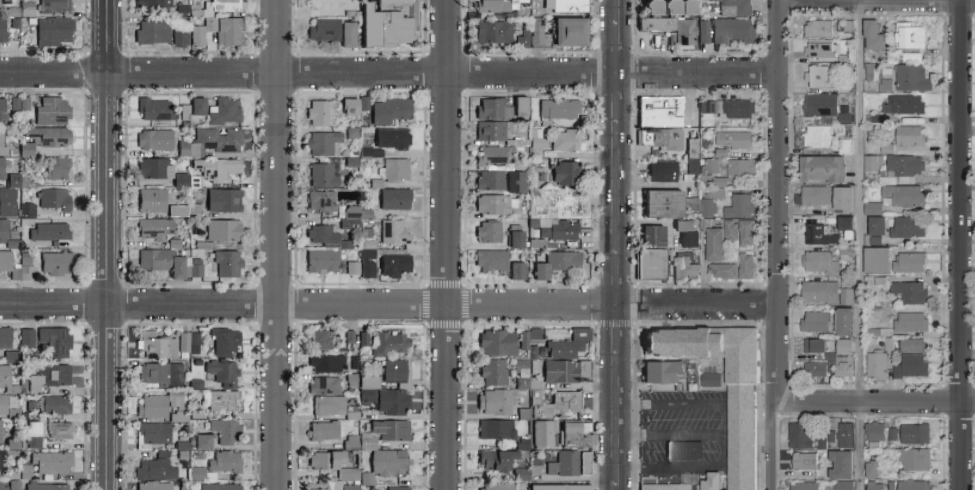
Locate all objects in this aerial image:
building: (53, 5)
building: (226, 5)
building: (493, 5)
building: (566, 6)
building: (677, 7)
building: (734, 7)
building: (649, 8)
building: (387, 22)
road: (104, 23)
road: (446, 23)
building: (661, 23)
building: (817, 28)
building: (1, 29)
building: (323, 29)
building: (732, 30)
building: (52, 31)
building: (218, 31)
building: (152, 32)
building: (493, 32)
building: (567, 32)
building: (684, 32)
building: (703, 32)
building: (346, 34)
building: (533, 35)
building: (872, 35)
building: (908, 35)
building: (180, 36)
road: (618, 36)
building: (819, 49)
road: (40, 71)
road: (273, 71)
road: (624, 73)
road: (421, 75)
building: (818, 76)
building: (911, 77)
building: (881, 81)
road: (103, 94)
road: (618, 98)
building: (820, 104)
building: (906, 104)
building: (348, 105)
building: (519, 105)
building: (192, 107)
building: (558, 107)
building: (728, 107)
building: (153, 108)
building: (492, 108)
building: (388, 109)
building: (223, 110)
building: (319, 111)
building: (2, 113)
building: (664, 113)
building: (844, 113)
building: (53, 114)
building: (492, 130)
building: (909, 135)
building: (818, 136)
building: (390, 137)
building: (50, 138)
building: (154, 138)
building: (565, 139)
building: (734, 139)
building: (214, 140)
building: (676, 141)
building: (2, 142)
building: (322, 142)
building: (183, 147)
building: (370, 150)
road: (778, 151)
building: (494, 154)
building: (872, 163)
building: (710, 165)
building: (902, 166)
building: (154, 167)
building: (216, 168)
building: (395, 168)
building: (820, 168)
building: (3, 169)
building: (59, 170)
building: (662, 170)
building: (740, 170)
building: (565, 172)
building: (322, 175)
building: (12, 179)
building: (490, 179)
building: (514, 181)
building: (718, 182)
road: (618, 186)
building: (716, 194)
building: (815, 195)
building: (902, 195)
building: (393, 198)
building: (841, 198)
building: (151, 199)
building: (223, 199)
building: (320, 200)
building: (56, 201)
building: (661, 201)
building: (8, 204)
building: (494, 204)
building: (739, 206)
building: (561, 207)
building: (706, 207)
building: (872, 208)
building: (26, 209)
building: (176, 210)
building: (349, 216)
building: (844, 222)
building: (876, 225)
building: (908, 226)
building: (153, 228)
building: (222, 229)
building: (488, 230)
building: (561, 230)
building: (730, 230)
building: (393, 231)
building: (745, 232)
building: (4, 233)
building: (56, 233)
building: (323, 234)
building: (652, 234)
building: (819, 234)
building: (515, 238)
building: (687, 238)
building: (345, 243)
road: (275, 244)
building: (713, 244)
road: (858, 244)
road: (960, 244)
building: (491, 259)
building: (876, 259)
building: (320, 260)
building: (160, 261)
building: (227, 262)
building: (819, 262)
building: (909, 262)
building: (559, 263)
building: (7, 264)
building: (393, 264)
building: (58, 265)
building: (656, 265)
building: (745, 265)
building: (352, 266)
building: (25, 267)
building: (367, 268)
building: (195, 269)
building: (515, 269)
building: (722, 270)
road: (618, 275)
building: (818, 291)
building: (909, 291)
road: (105, 292)
road: (444, 293)
building: (845, 295)
road: (388, 302)
building: (843, 320)
building: (814, 321)
building: (910, 321)
road: (618, 328)
building: (534, 333)
building: (4, 336)
building: (26, 337)
building: (363, 337)
building: (319, 338)
building: (523, 339)
building: (54, 340)
building: (188, 341)
building: (224, 341)
building: (389, 342)
building: (499, 342)
building: (911, 344)
building: (156, 345)
building: (814, 345)
building: (843, 346)
building: (565, 350)
road: (775, 352)
building: (11, 356)
building: (325, 362)
building: (830, 362)
building: (843, 365)
building: (876, 365)
building: (911, 365)
building: (395, 369)
building: (815, 369)
building: (660, 370)
building: (493, 371)
building: (222, 372)
building: (570, 372)
building: (161, 373)
building: (49, 376)
building: (7, 380)
building: (366, 381)
building: (714, 381)
building: (324, 384)
building: (363, 395)
building: (175, 398)
building: (222, 399)
building: (392, 401)
building: (493, 401)
building: (570, 402)
road: (872, 402)
building: (55, 403)
road: (684, 403)
building: (328, 404)
building: (152, 405)
building: (543, 407)
building: (744, 407)
building: (7, 408)
road: (619, 418)
building: (0, 420)
building: (496, 428)
building: (59, 429)
building: (323, 429)
building: (390, 429)
building: (225, 430)
building: (874, 430)
building: (154, 432)
building: (547, 433)
building: (891, 433)
building: (913, 433)
building: (845, 434)
road: (669, 435)
building: (800, 435)
building: (32, 437)
building: (579, 437)
building: (825, 438)
building: (202, 440)
building: (366, 441)
building: (12, 443)
building: (873, 444)
road: (769, 446)
building: (683, 450)
building: (325, 458)
building: (495, 458)
building: (914, 459)
building: (0, 460)
building: (224, 460)
building: (804, 461)
building: (51, 462)
building: (387, 462)
building: (583, 462)
building: (588, 464)
building: (840, 464)
building: (567, 466)
road: (681, 466)
building: (155, 467)
building: (871, 469)
building: (24, 471)
building: (197, 472)
building: (519, 473)
building: (350, 474)
building: (13, 484)
building: (3, 485)
building: (153, 485)
building: (330, 485)
building: (496, 485)
road: (618, 485)
building: (842, 485)
building: (913, 485)
building: (45, 486)
building: (219, 486)
building: (557, 486)
building: (803, 486)
building: (873, 486)
building: (396, 487)
building: (670, 488)

